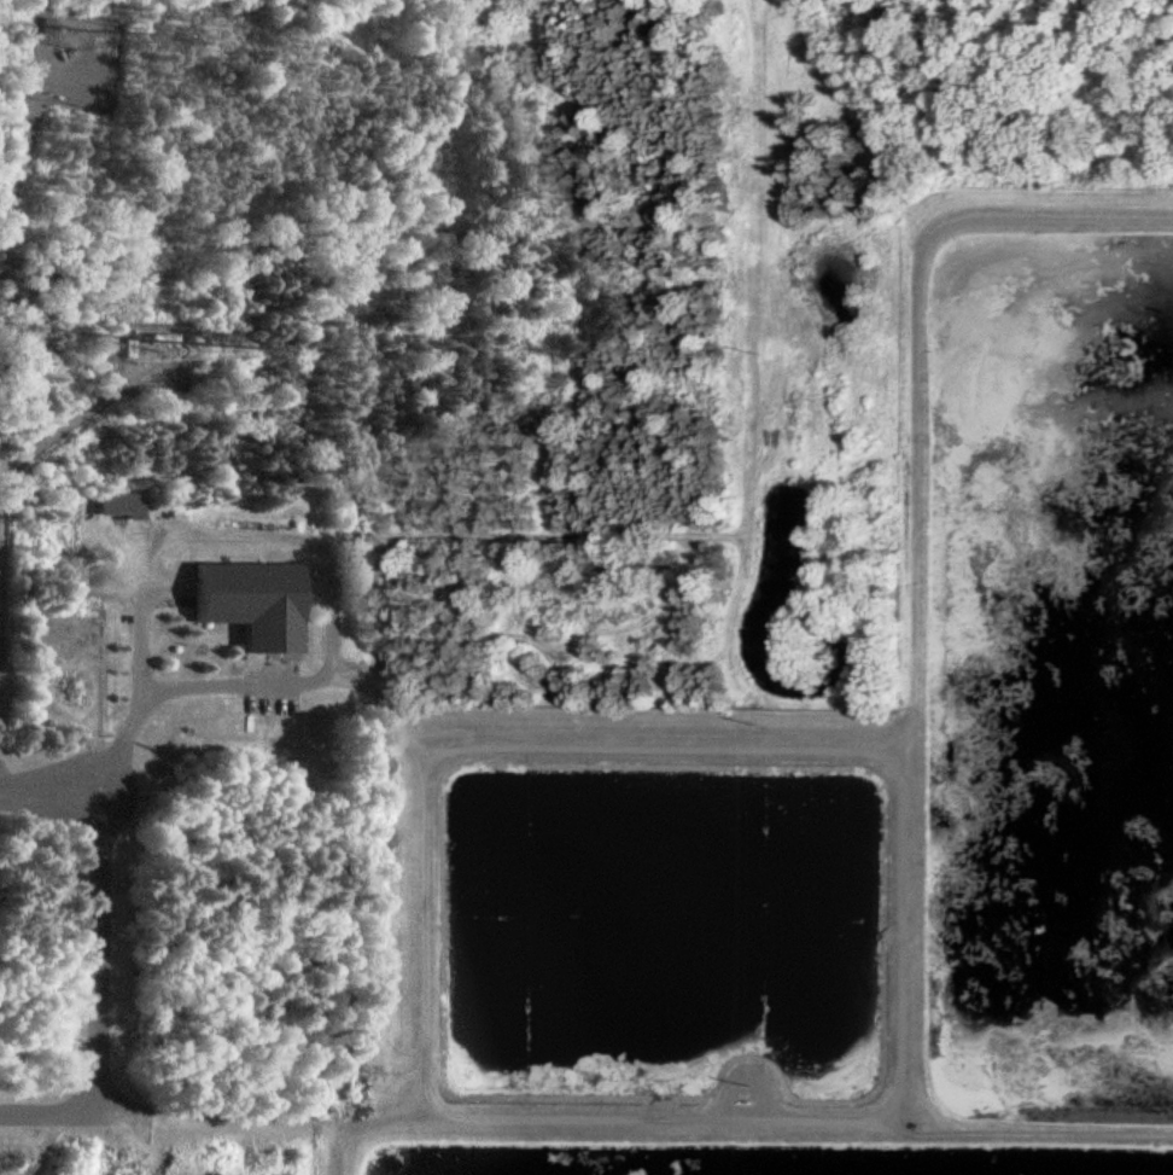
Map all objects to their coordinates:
building: (123, 504)
road: (916, 552)
building: (255, 603)
wastewater plant: (840, 749)
road: (134, 784)
road: (586, 1125)
road: (346, 1151)

